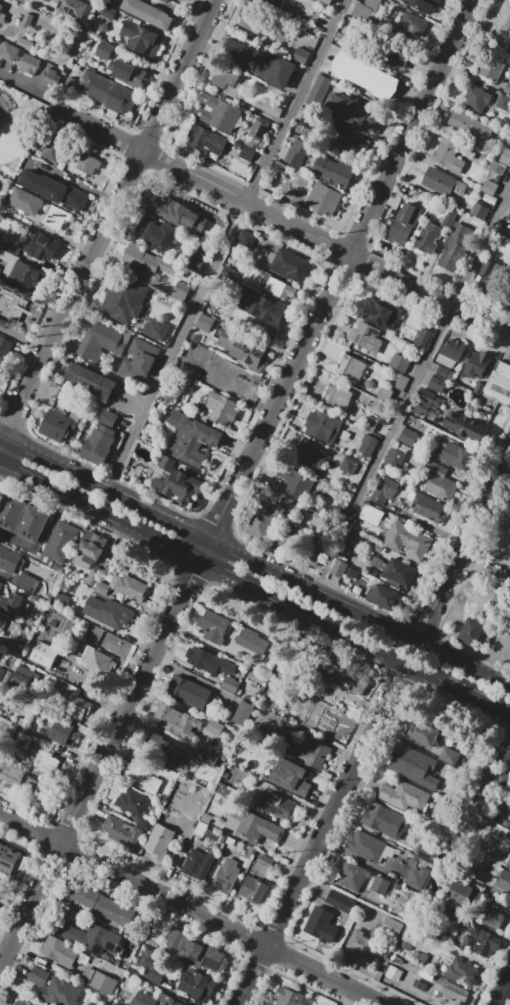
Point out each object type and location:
building: (326, 1)
building: (270, 3)
building: (0, 4)
road: (40, 4)
building: (422, 4)
building: (1, 7)
road: (194, 7)
building: (71, 8)
building: (363, 10)
road: (180, 11)
building: (107, 12)
building: (148, 13)
building: (2, 17)
building: (25, 20)
building: (252, 20)
building: (501, 22)
building: (102, 27)
building: (408, 28)
building: (141, 39)
building: (24, 43)
building: (104, 49)
building: (235, 50)
building: (9, 51)
building: (389, 53)
building: (301, 55)
building: (29, 64)
building: (490, 66)
building: (273, 69)
building: (127, 73)
building: (364, 75)
building: (49, 76)
building: (70, 81)
building: (225, 81)
building: (507, 89)
road: (33, 91)
building: (318, 91)
building: (107, 92)
building: (476, 98)
building: (503, 102)
building: (219, 105)
road: (24, 109)
building: (272, 109)
building: (352, 112)
road: (10, 116)
building: (213, 118)
building: (468, 124)
park: (17, 127)
building: (258, 129)
building: (346, 135)
building: (205, 140)
building: (237, 145)
building: (48, 147)
building: (297, 152)
building: (247, 153)
building: (448, 155)
building: (505, 156)
building: (84, 164)
building: (279, 166)
building: (334, 171)
building: (298, 178)
building: (443, 182)
road: (78, 183)
building: (489, 187)
building: (54, 189)
building: (323, 199)
building: (26, 201)
building: (479, 211)
building: (176, 212)
building: (508, 216)
building: (56, 217)
road: (106, 219)
road: (285, 225)
building: (403, 225)
building: (155, 233)
road: (54, 234)
building: (246, 238)
building: (428, 238)
road: (225, 244)
building: (40, 246)
building: (9, 247)
building: (454, 247)
building: (144, 263)
building: (194, 263)
building: (289, 265)
road: (50, 268)
building: (0, 269)
building: (490, 273)
building: (27, 274)
building: (228, 275)
building: (280, 289)
building: (180, 291)
road: (33, 294)
building: (123, 300)
building: (260, 304)
building: (508, 304)
building: (15, 311)
building: (378, 316)
building: (205, 323)
building: (156, 329)
building: (421, 337)
building: (364, 338)
building: (103, 340)
building: (4, 348)
building: (245, 350)
building: (447, 353)
building: (138, 361)
building: (399, 364)
building: (476, 366)
building: (352, 368)
building: (482, 378)
building: (90, 381)
building: (400, 382)
building: (438, 384)
building: (499, 384)
road: (411, 388)
building: (52, 390)
building: (170, 390)
building: (63, 392)
building: (384, 395)
building: (337, 398)
building: (430, 399)
building: (216, 405)
building: (424, 410)
building: (228, 412)
building: (107, 417)
building: (370, 423)
building: (58, 424)
building: (323, 427)
building: (464, 427)
building: (406, 437)
building: (192, 441)
building: (97, 445)
building: (366, 446)
building: (451, 455)
building: (308, 457)
building: (395, 458)
building: (348, 466)
building: (436, 481)
road: (236, 482)
building: (300, 483)
building: (177, 486)
building: (386, 492)
building: (428, 508)
building: (371, 515)
building: (22, 517)
building: (317, 518)
building: (264, 521)
building: (288, 536)
road: (165, 540)
road: (208, 540)
building: (406, 540)
building: (60, 542)
road: (465, 548)
building: (89, 549)
building: (308, 552)
building: (10, 559)
building: (337, 569)
building: (370, 571)
building: (350, 572)
building: (399, 573)
building: (493, 576)
building: (91, 577)
building: (23, 581)
building: (1, 585)
building: (103, 588)
building: (131, 588)
building: (356, 589)
building: (382, 598)
building: (61, 599)
building: (11, 604)
building: (107, 611)
building: (30, 621)
building: (2, 625)
building: (214, 626)
building: (470, 631)
building: (252, 641)
building: (2, 644)
building: (114, 644)
road: (491, 649)
building: (18, 651)
road: (388, 652)
building: (43, 654)
building: (94, 660)
road: (464, 661)
building: (213, 663)
building: (2, 673)
building: (27, 678)
building: (352, 683)
building: (230, 684)
building: (186, 692)
road: (478, 700)
building: (75, 701)
building: (19, 709)
building: (242, 712)
building: (176, 720)
building: (325, 725)
building: (215, 727)
building: (64, 733)
building: (421, 733)
building: (23, 741)
building: (163, 750)
building: (504, 751)
building: (314, 754)
building: (448, 755)
building: (205, 758)
building: (407, 759)
building: (46, 764)
building: (12, 773)
building: (170, 776)
building: (141, 777)
building: (289, 779)
building: (403, 795)
building: (274, 805)
building: (134, 807)
building: (385, 819)
building: (252, 826)
building: (122, 833)
road: (322, 833)
building: (158, 842)
building: (369, 848)
building: (508, 860)
building: (9, 861)
building: (195, 863)
building: (227, 875)
building: (352, 875)
building: (418, 878)
building: (503, 880)
building: (2, 885)
building: (380, 886)
building: (254, 890)
building: (466, 896)
building: (340, 901)
building: (97, 903)
road: (190, 909)
building: (493, 918)
building: (320, 924)
building: (391, 929)
building: (410, 937)
building: (90, 939)
building: (176, 939)
building: (481, 942)
building: (361, 947)
building: (60, 952)
building: (202, 956)
building: (151, 966)
building: (461, 971)
building: (39, 977)
road: (509, 980)
building: (98, 982)
building: (196, 986)
building: (63, 992)
road: (502, 993)
building: (288, 996)
building: (448, 997)
building: (143, 999)
building: (173, 1002)
building: (19, 1003)
building: (114, 1004)
building: (190, 1004)

